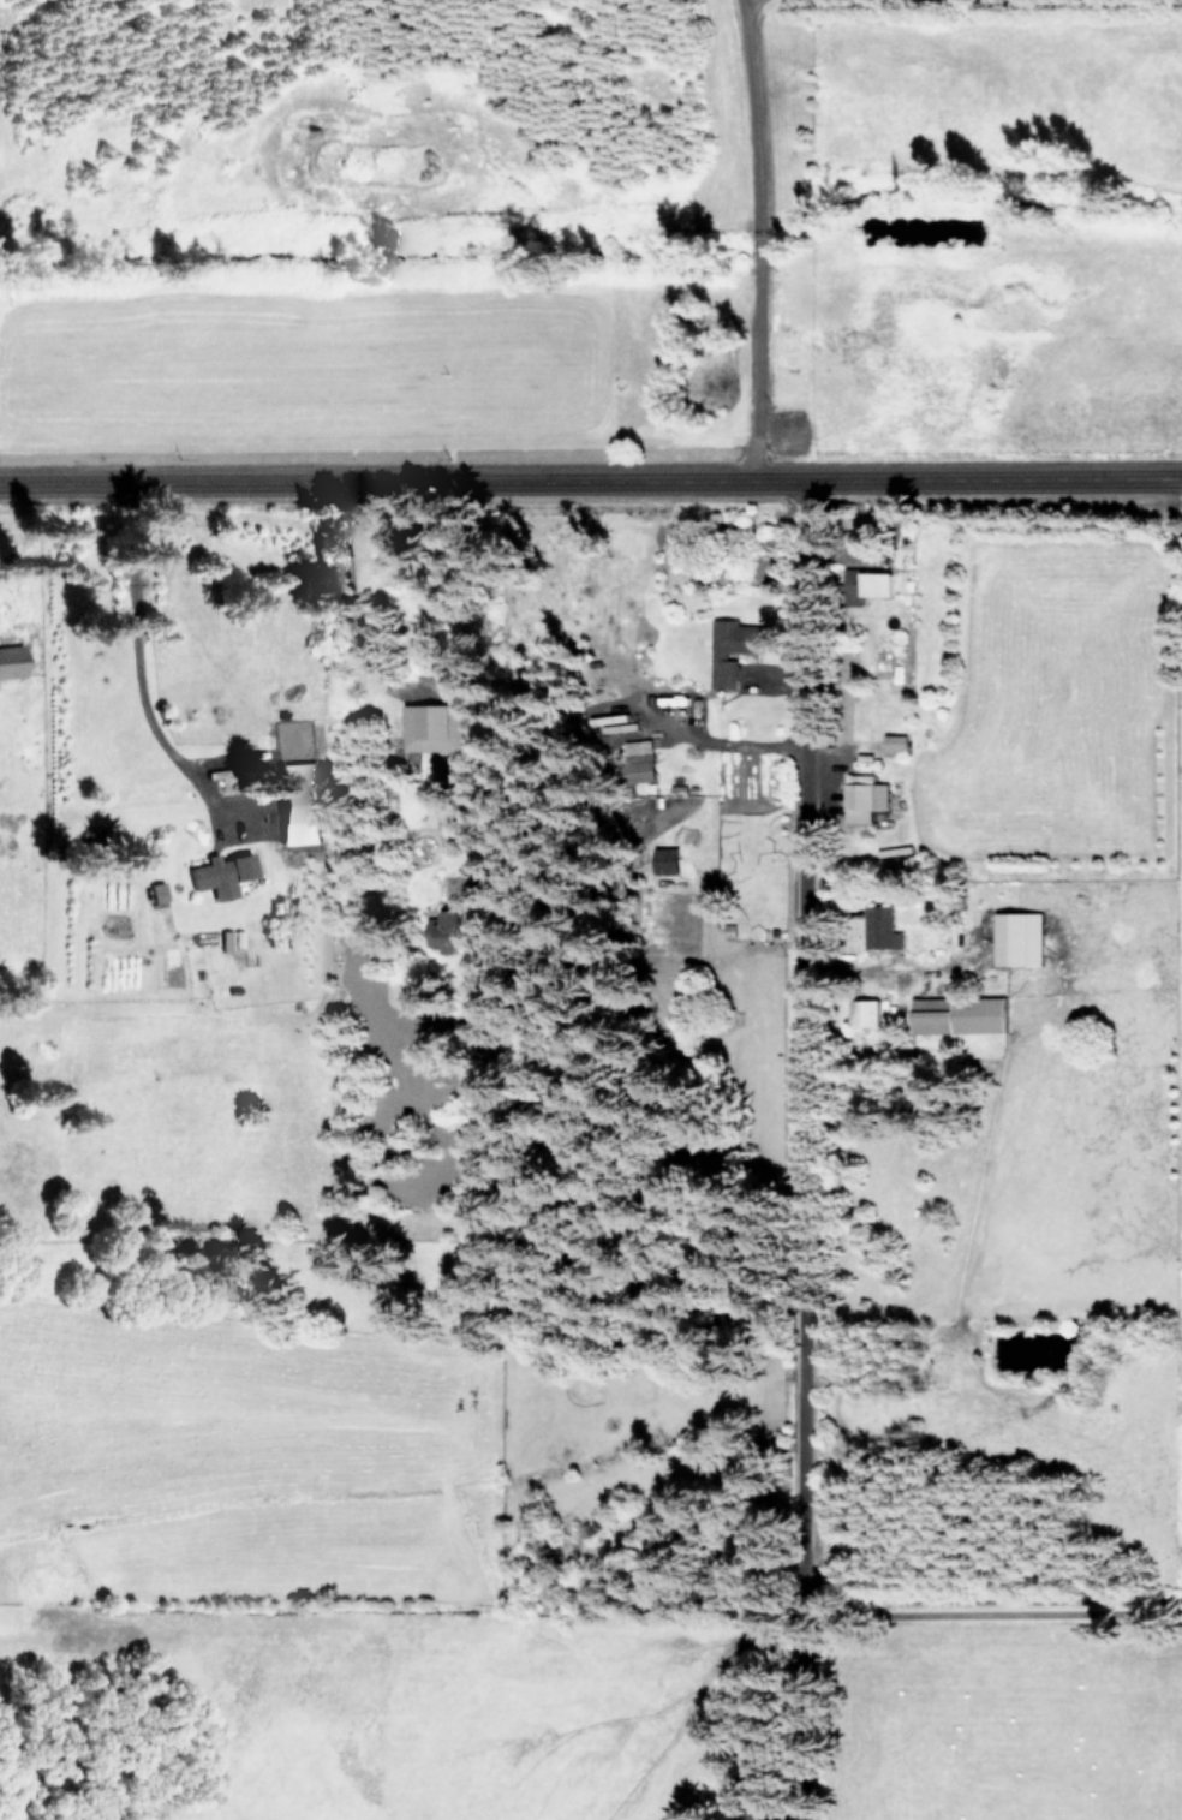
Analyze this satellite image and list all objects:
road: (591, 477)
building: (873, 581)
building: (729, 646)
road: (133, 651)
building: (11, 660)
building: (430, 726)
building: (893, 742)
building: (861, 796)
building: (295, 802)
building: (220, 873)
building: (879, 926)
building: (442, 935)
building: (1016, 937)
building: (862, 1012)
building: (957, 1013)
road: (793, 1150)
road: (999, 1615)

